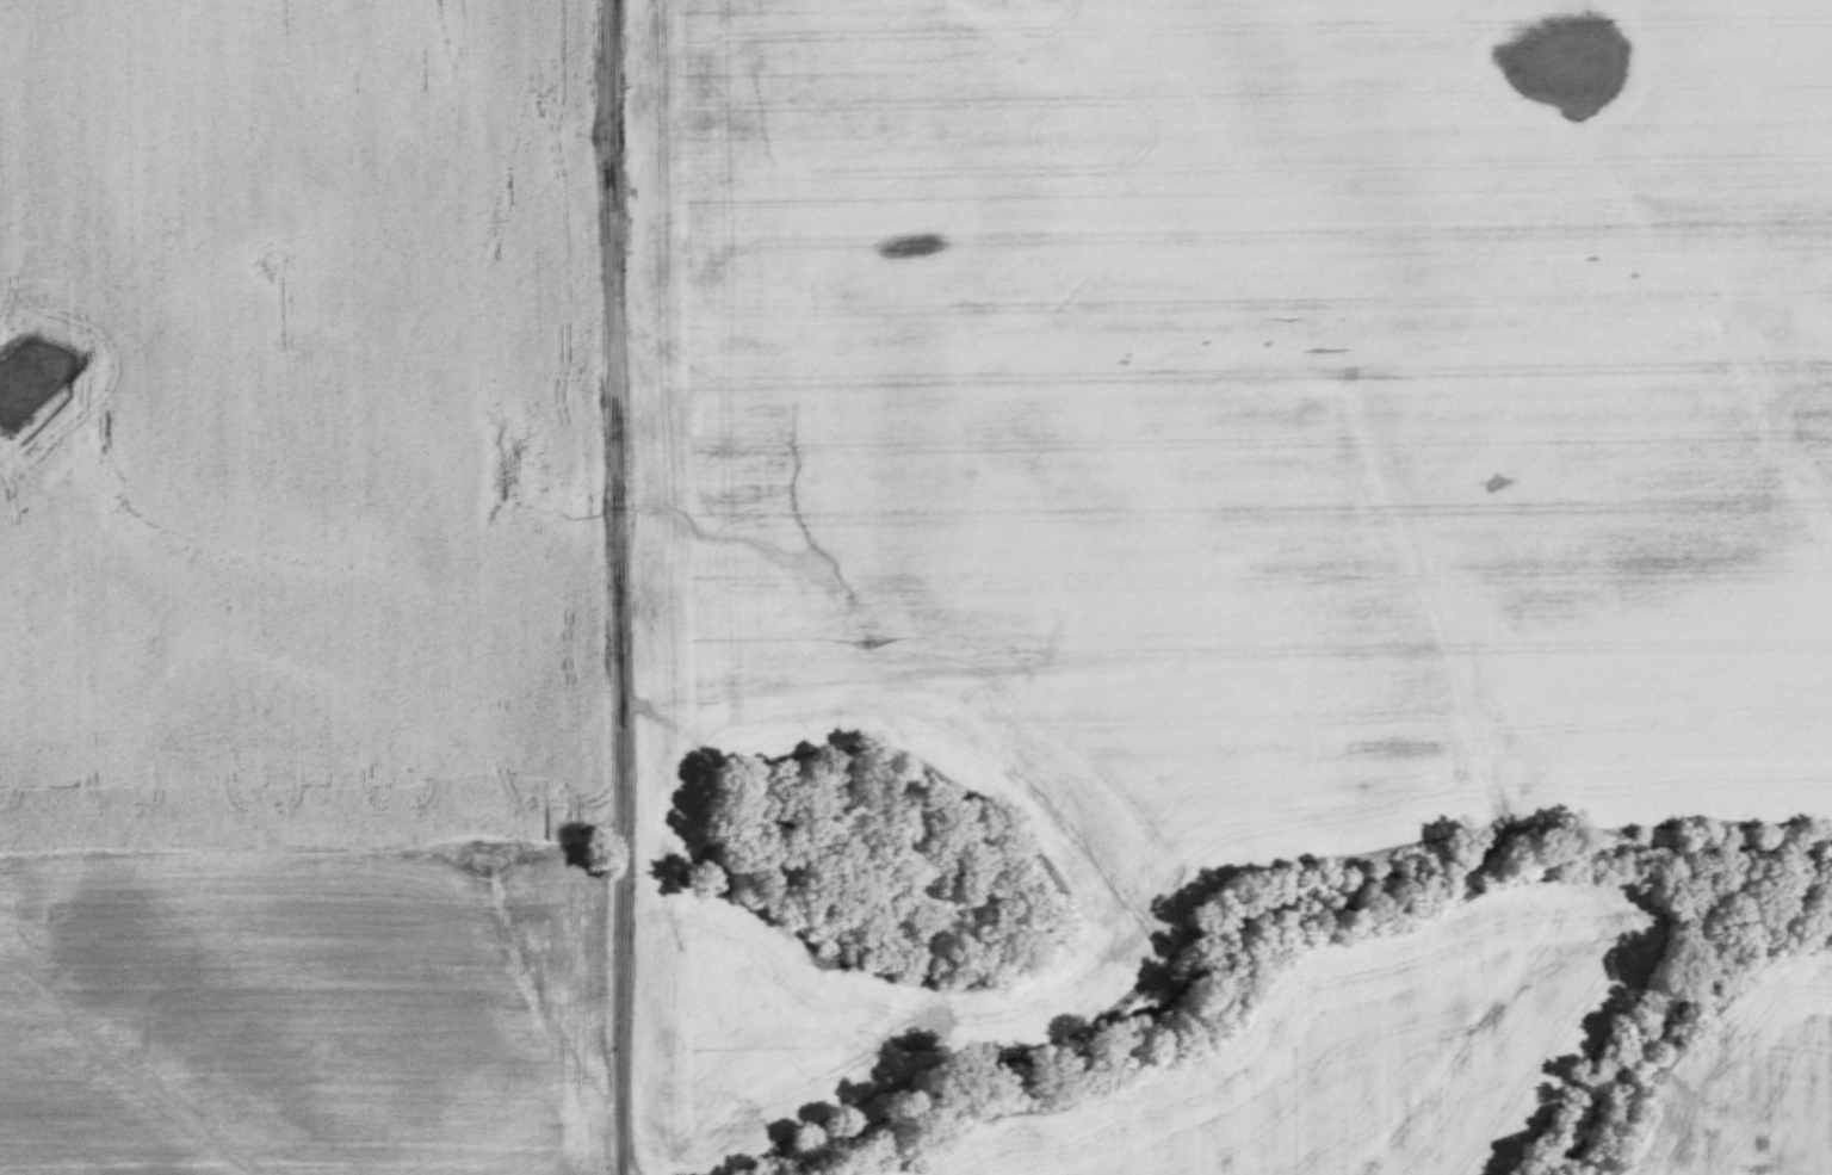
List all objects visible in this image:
crop: (298, 420)
crop: (1206, 462)
road: (618, 587)
crop: (1361, 1051)
crop: (1749, 1078)

